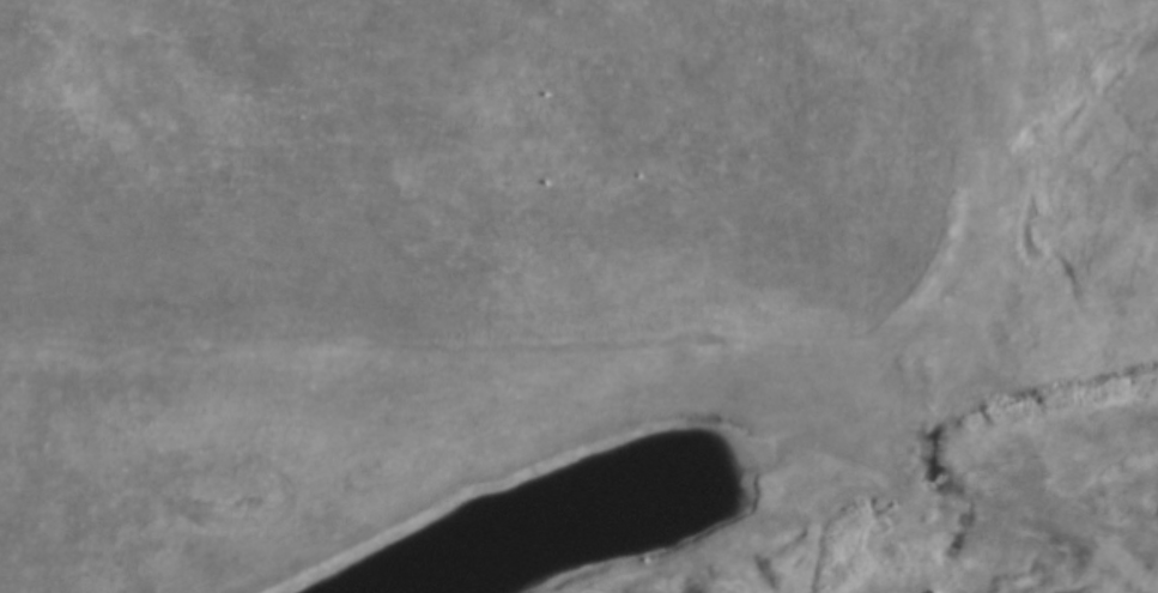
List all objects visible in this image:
quarry: (953, 525)

